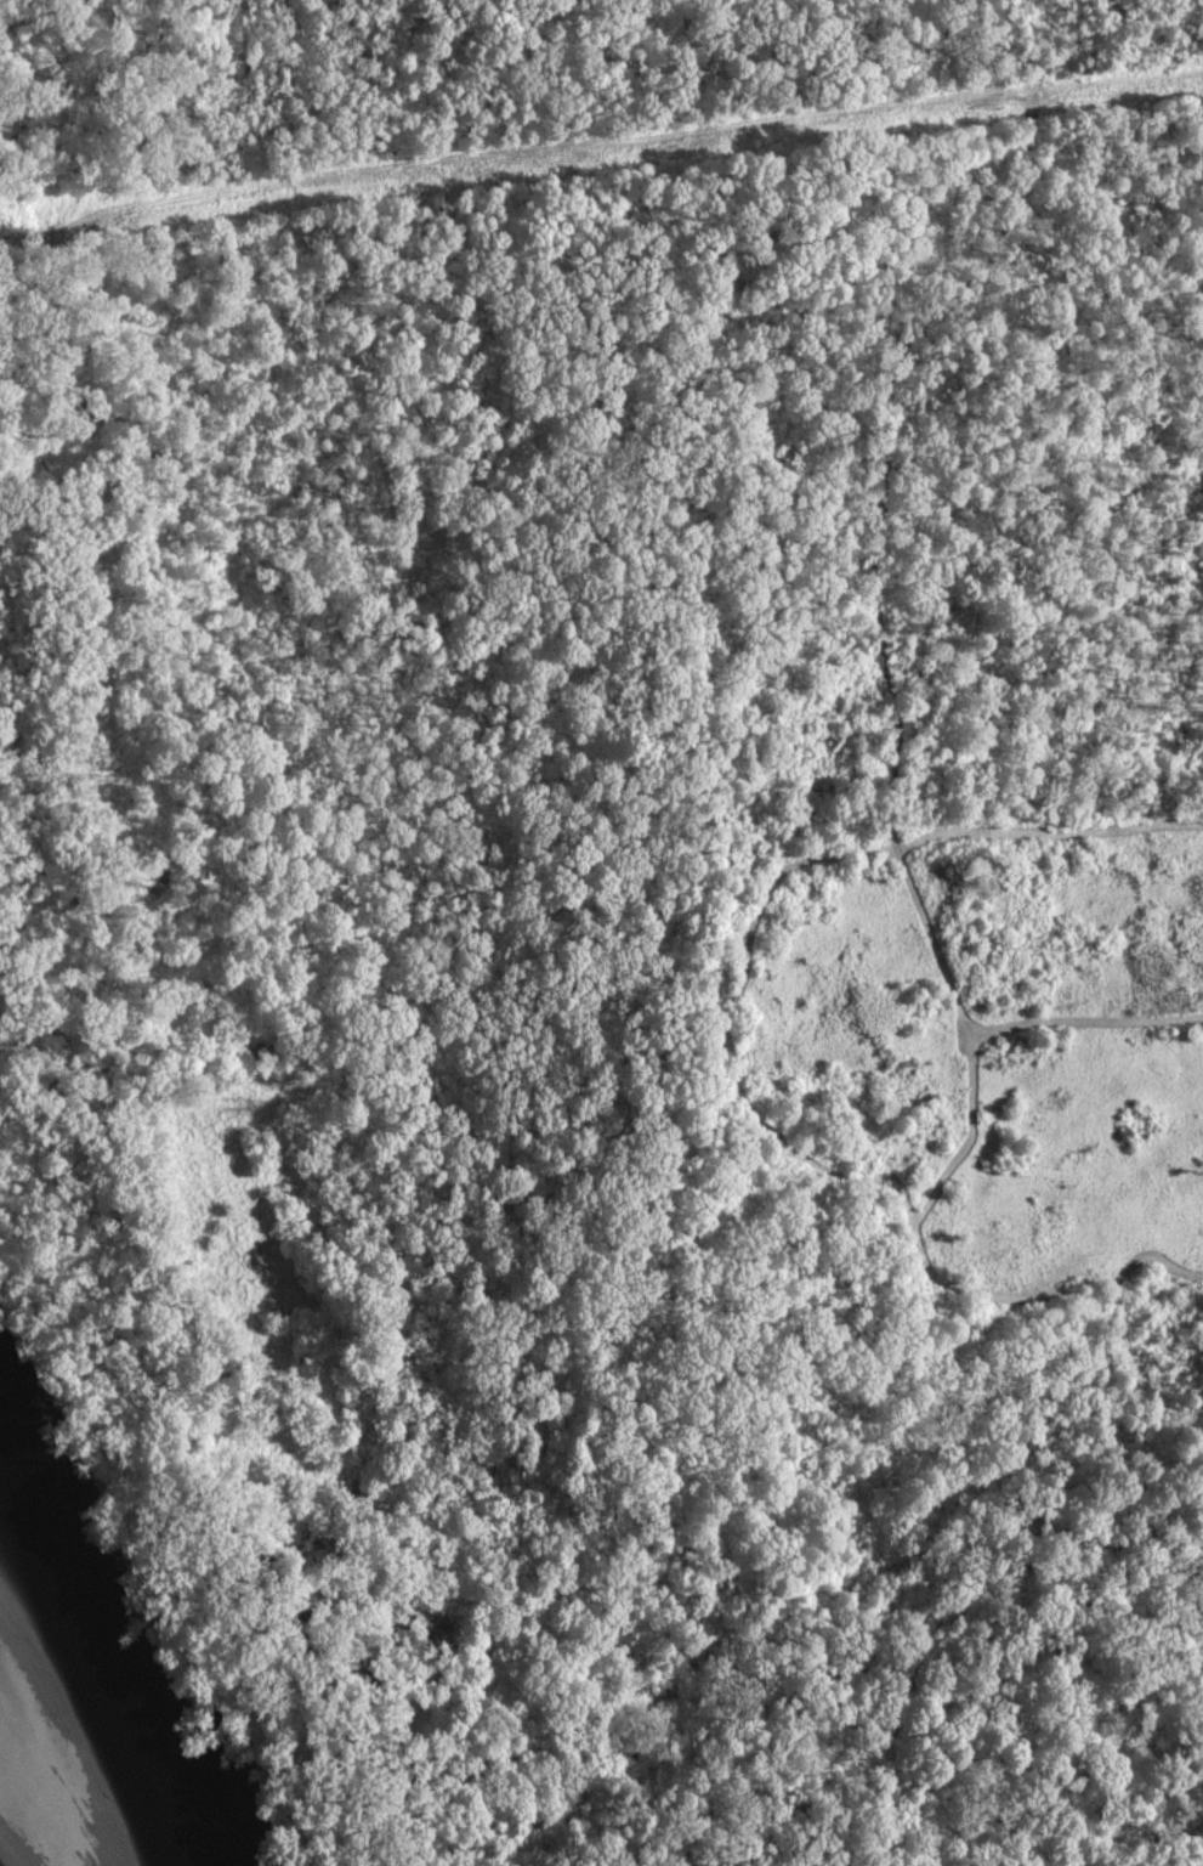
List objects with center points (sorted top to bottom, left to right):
river: (96, 1697)

